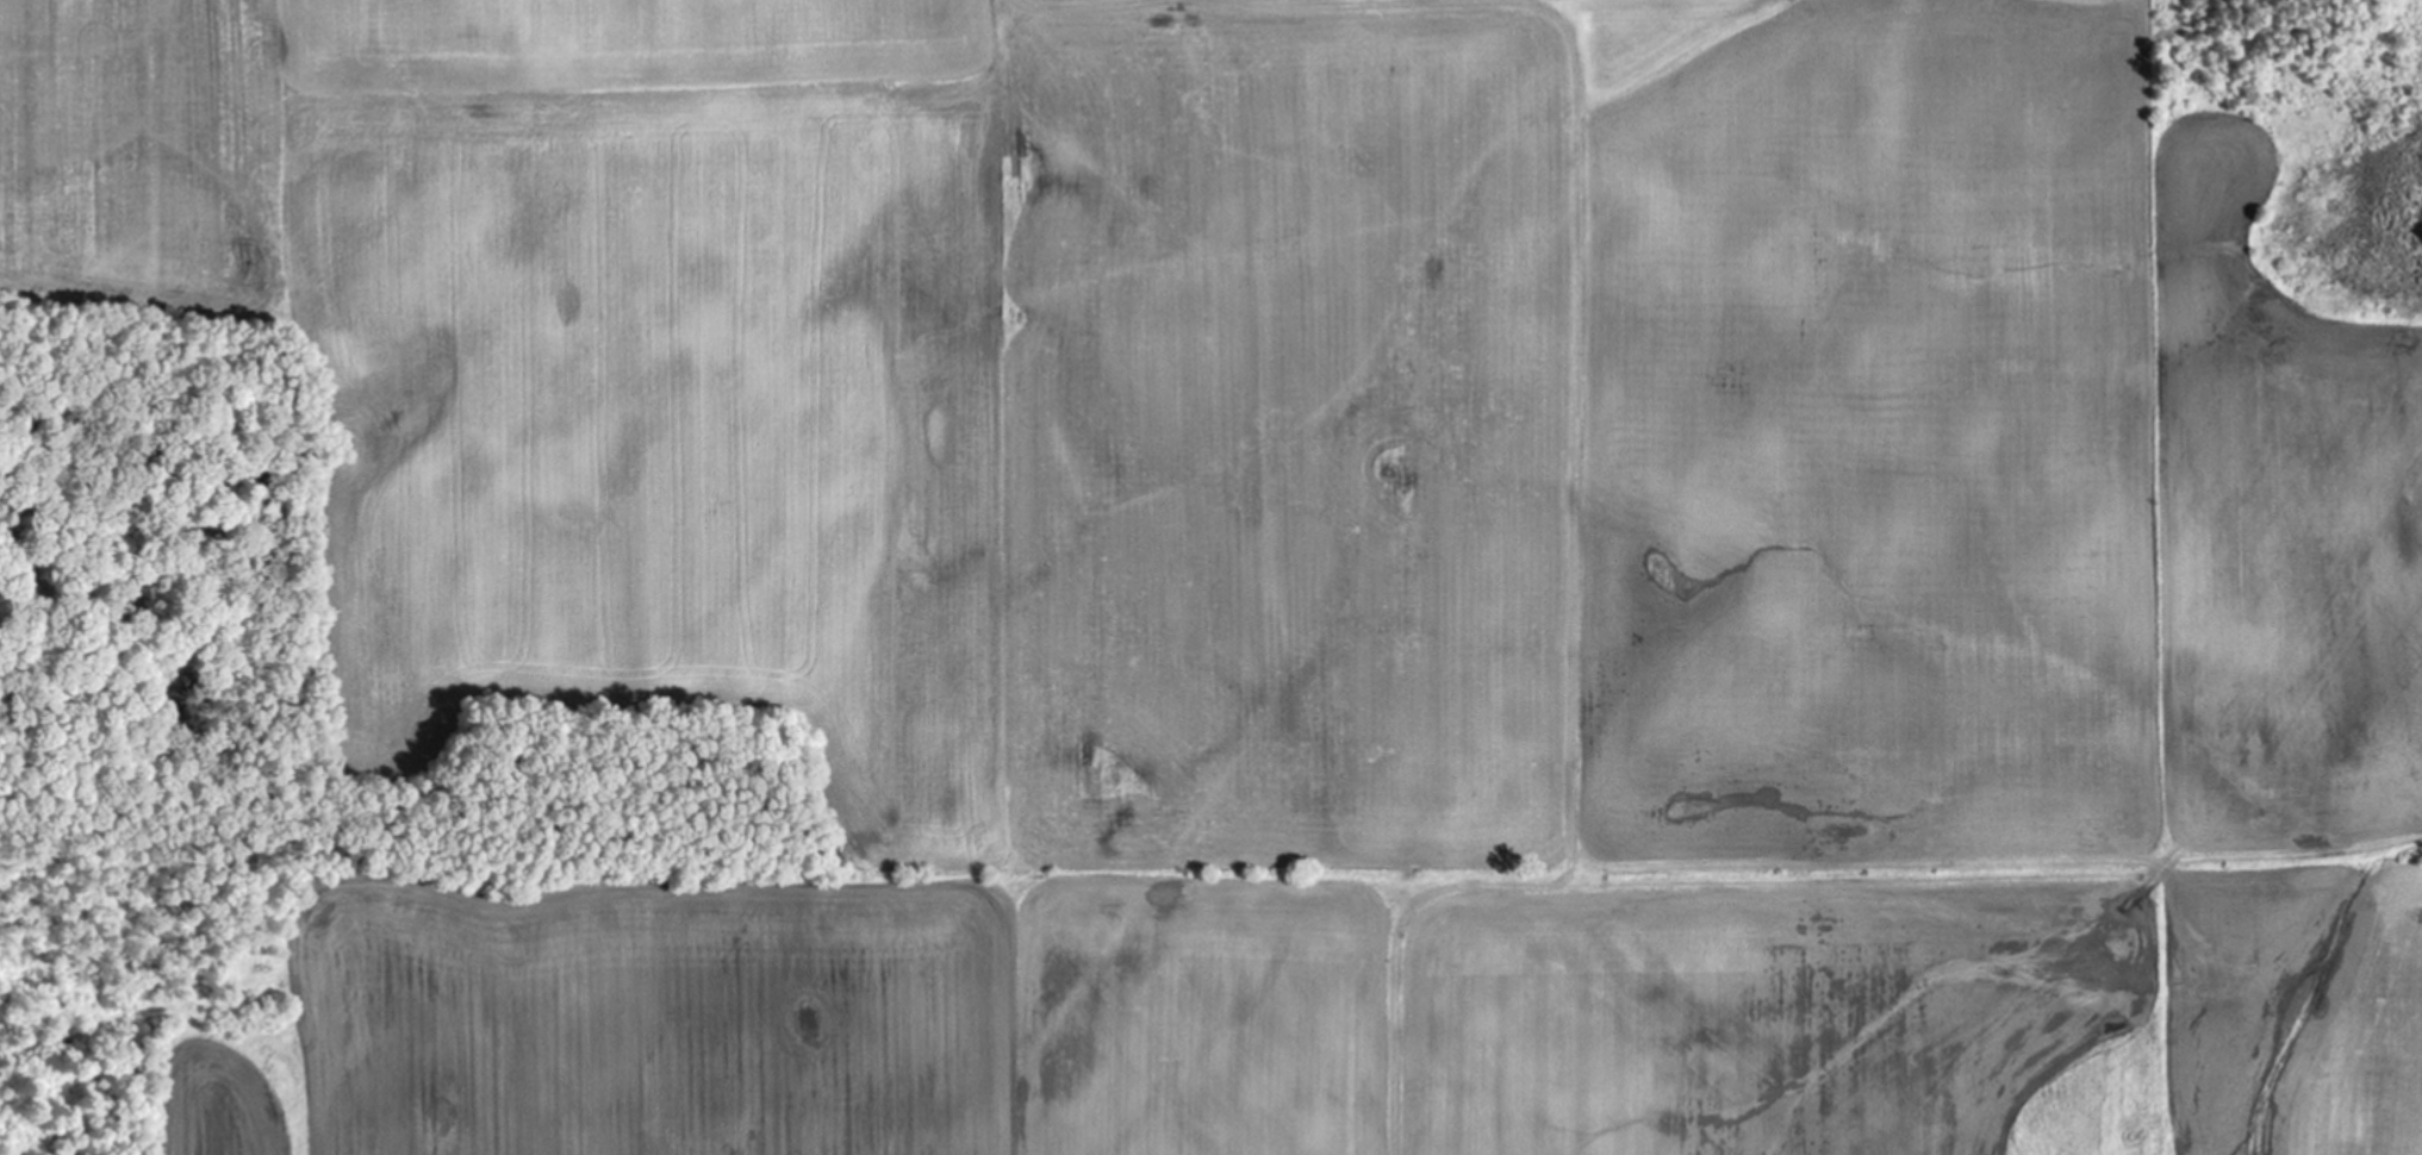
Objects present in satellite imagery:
road: (1582, 380)

